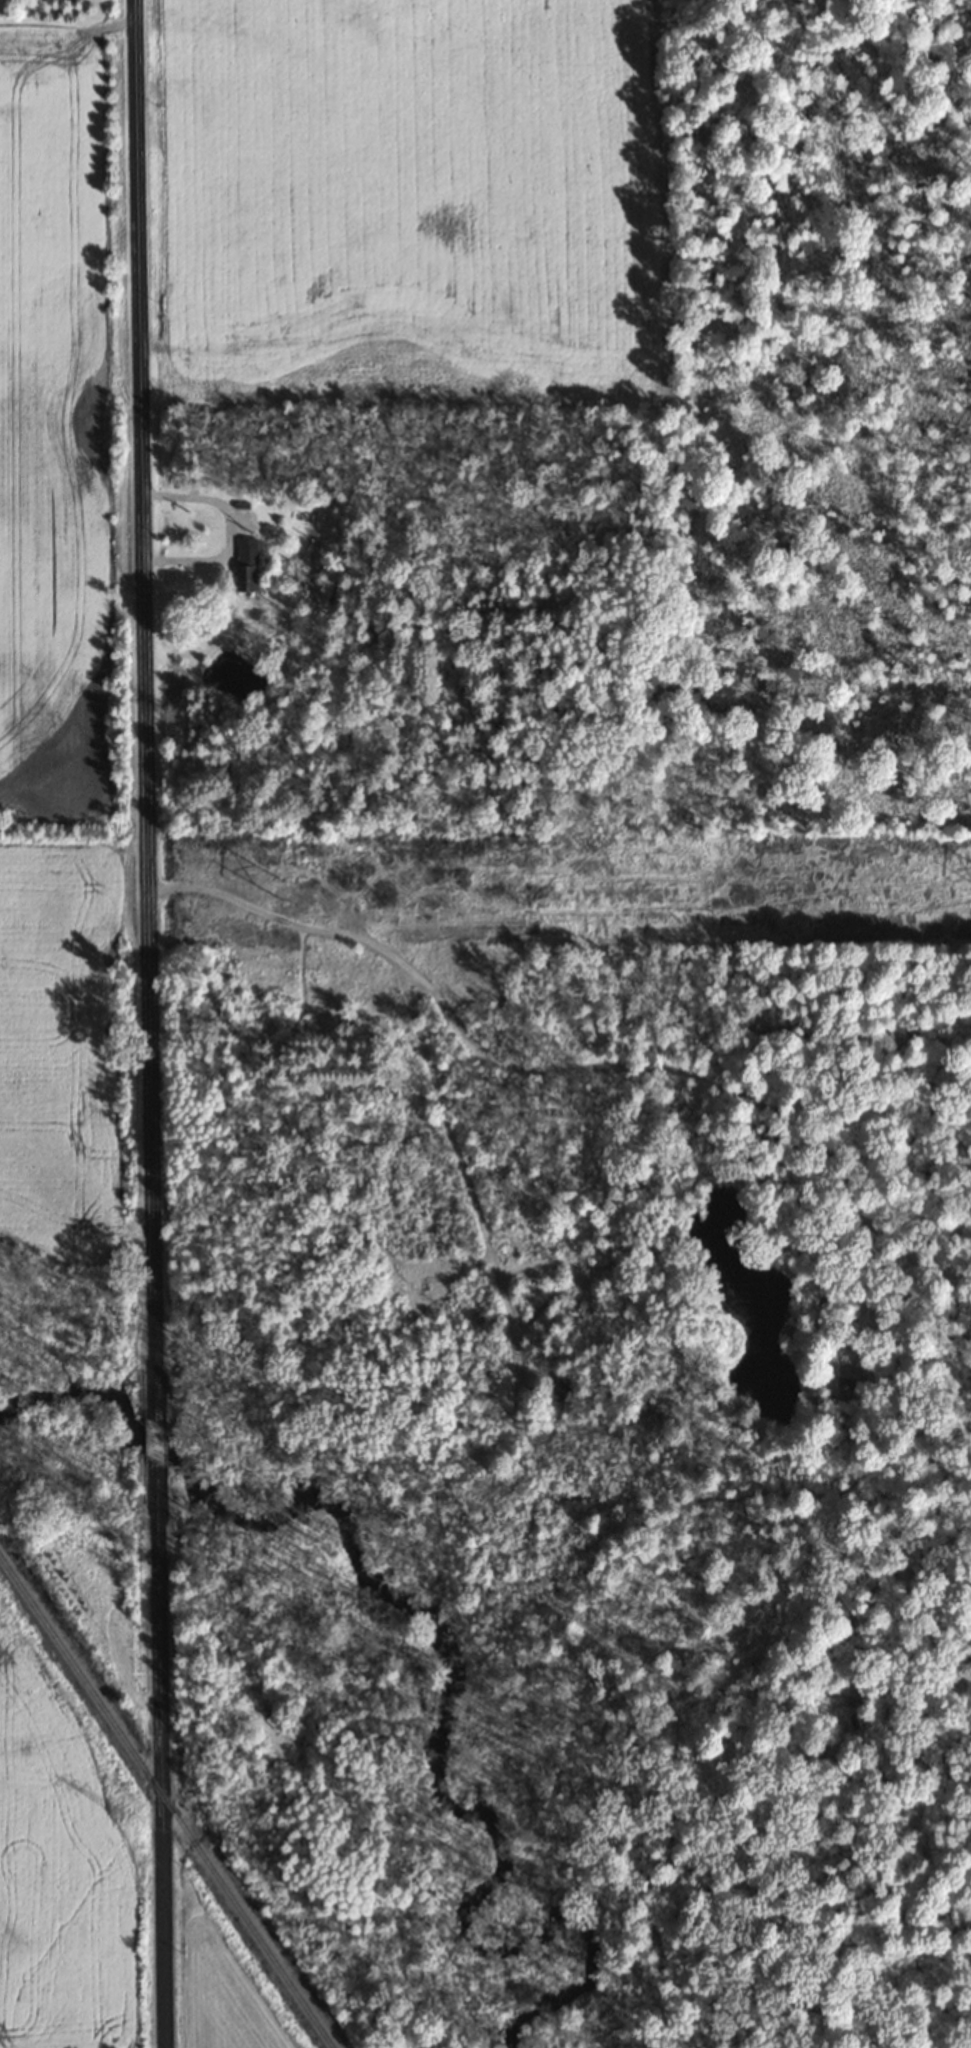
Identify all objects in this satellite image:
road: (229, 530)
building: (244, 577)
road: (146, 711)
power tower: (282, 887)
road: (570, 1067)
road: (458, 1153)
building: (846, 1380)
building: (564, 1391)
road: (156, 1441)
river: (446, 1666)
road: (163, 1753)
railway: (166, 1803)

